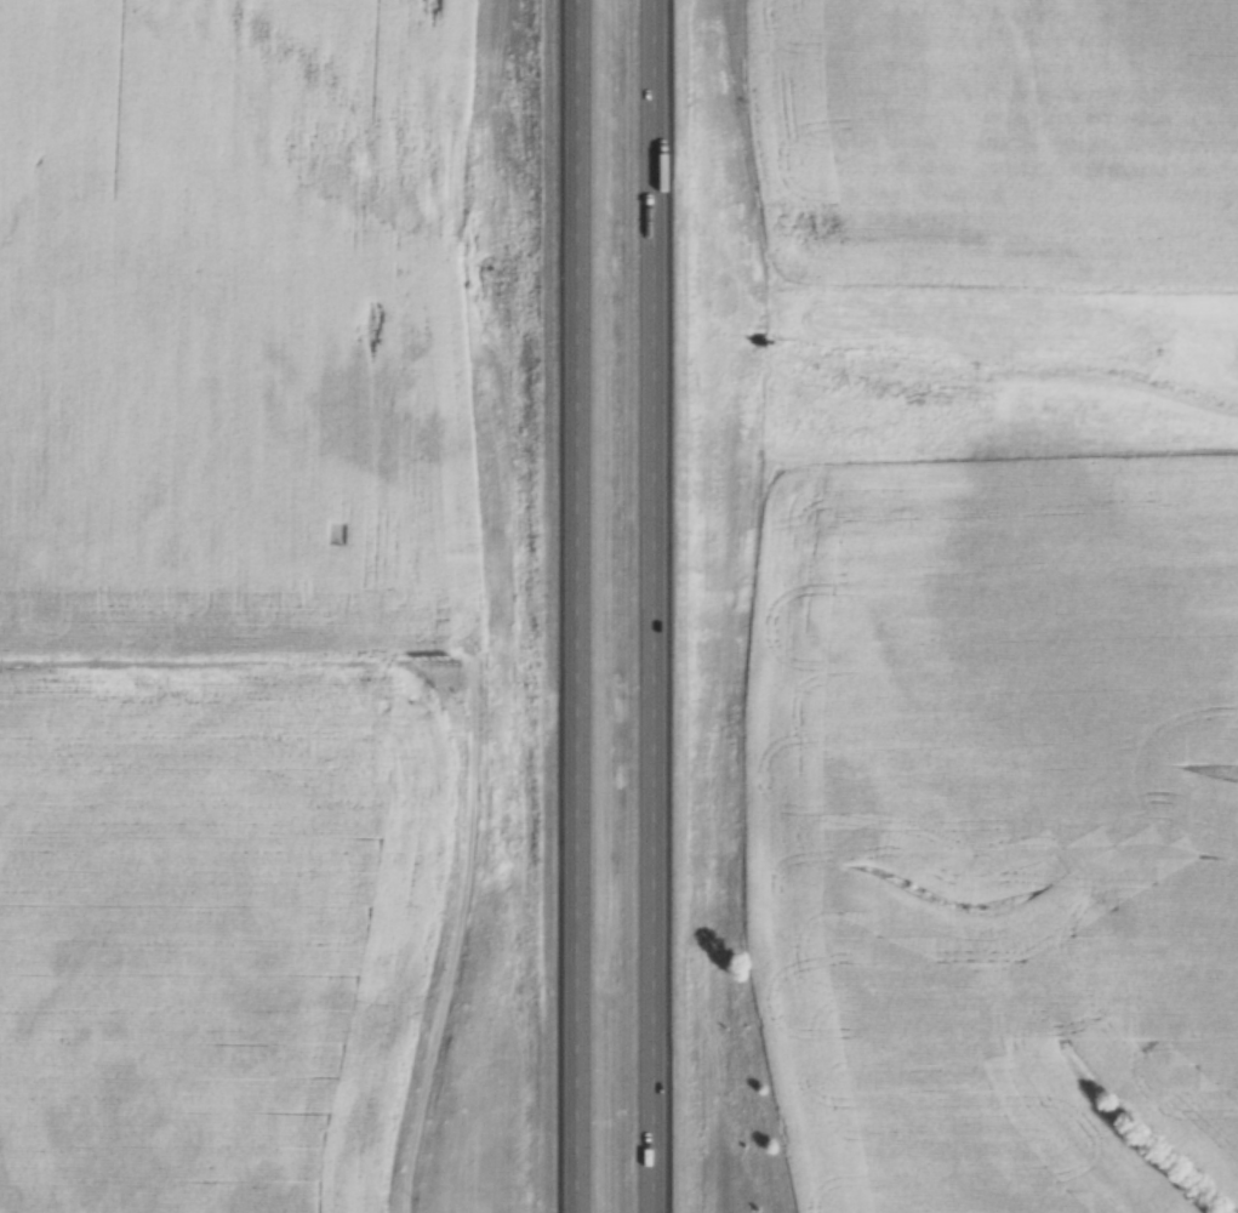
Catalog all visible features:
road: (640, 605)
road: (567, 606)
road: (969, 644)

